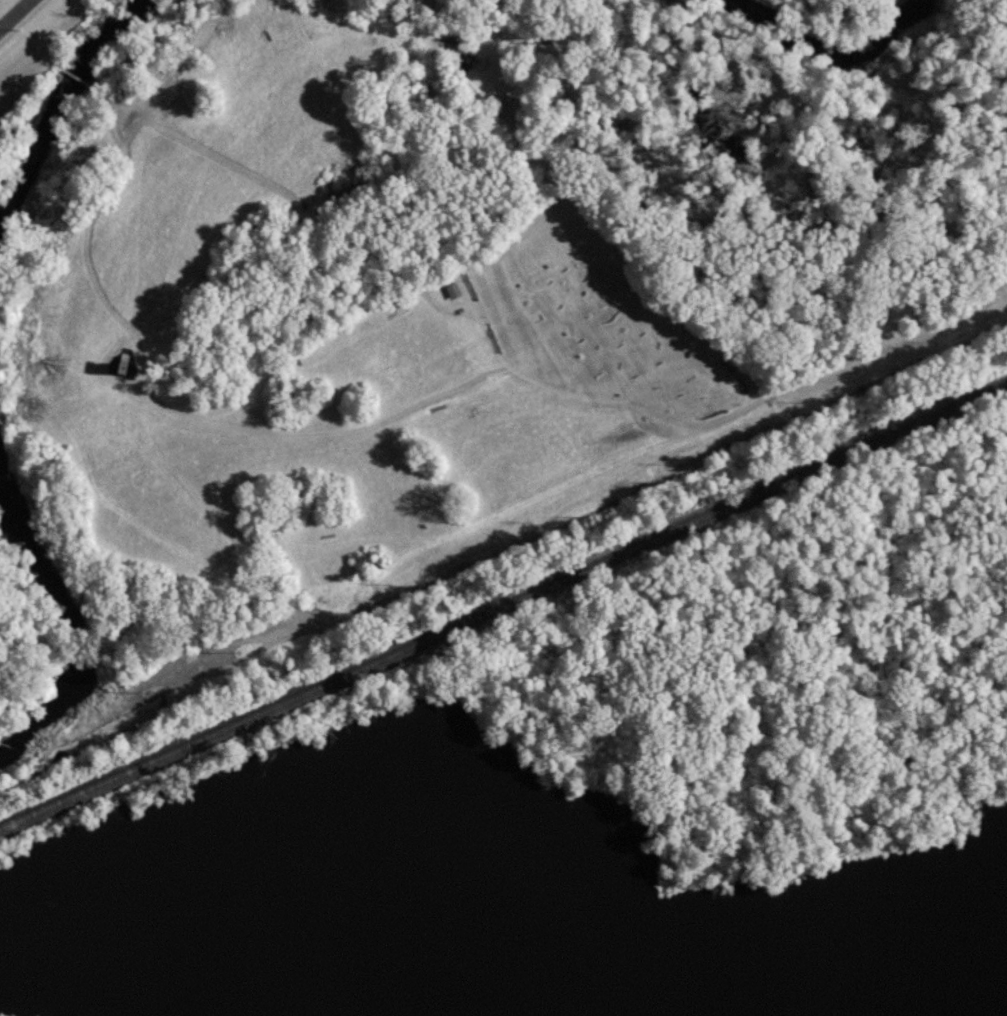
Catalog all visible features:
track: (13, 13)
road: (831, 367)
railway: (503, 604)

